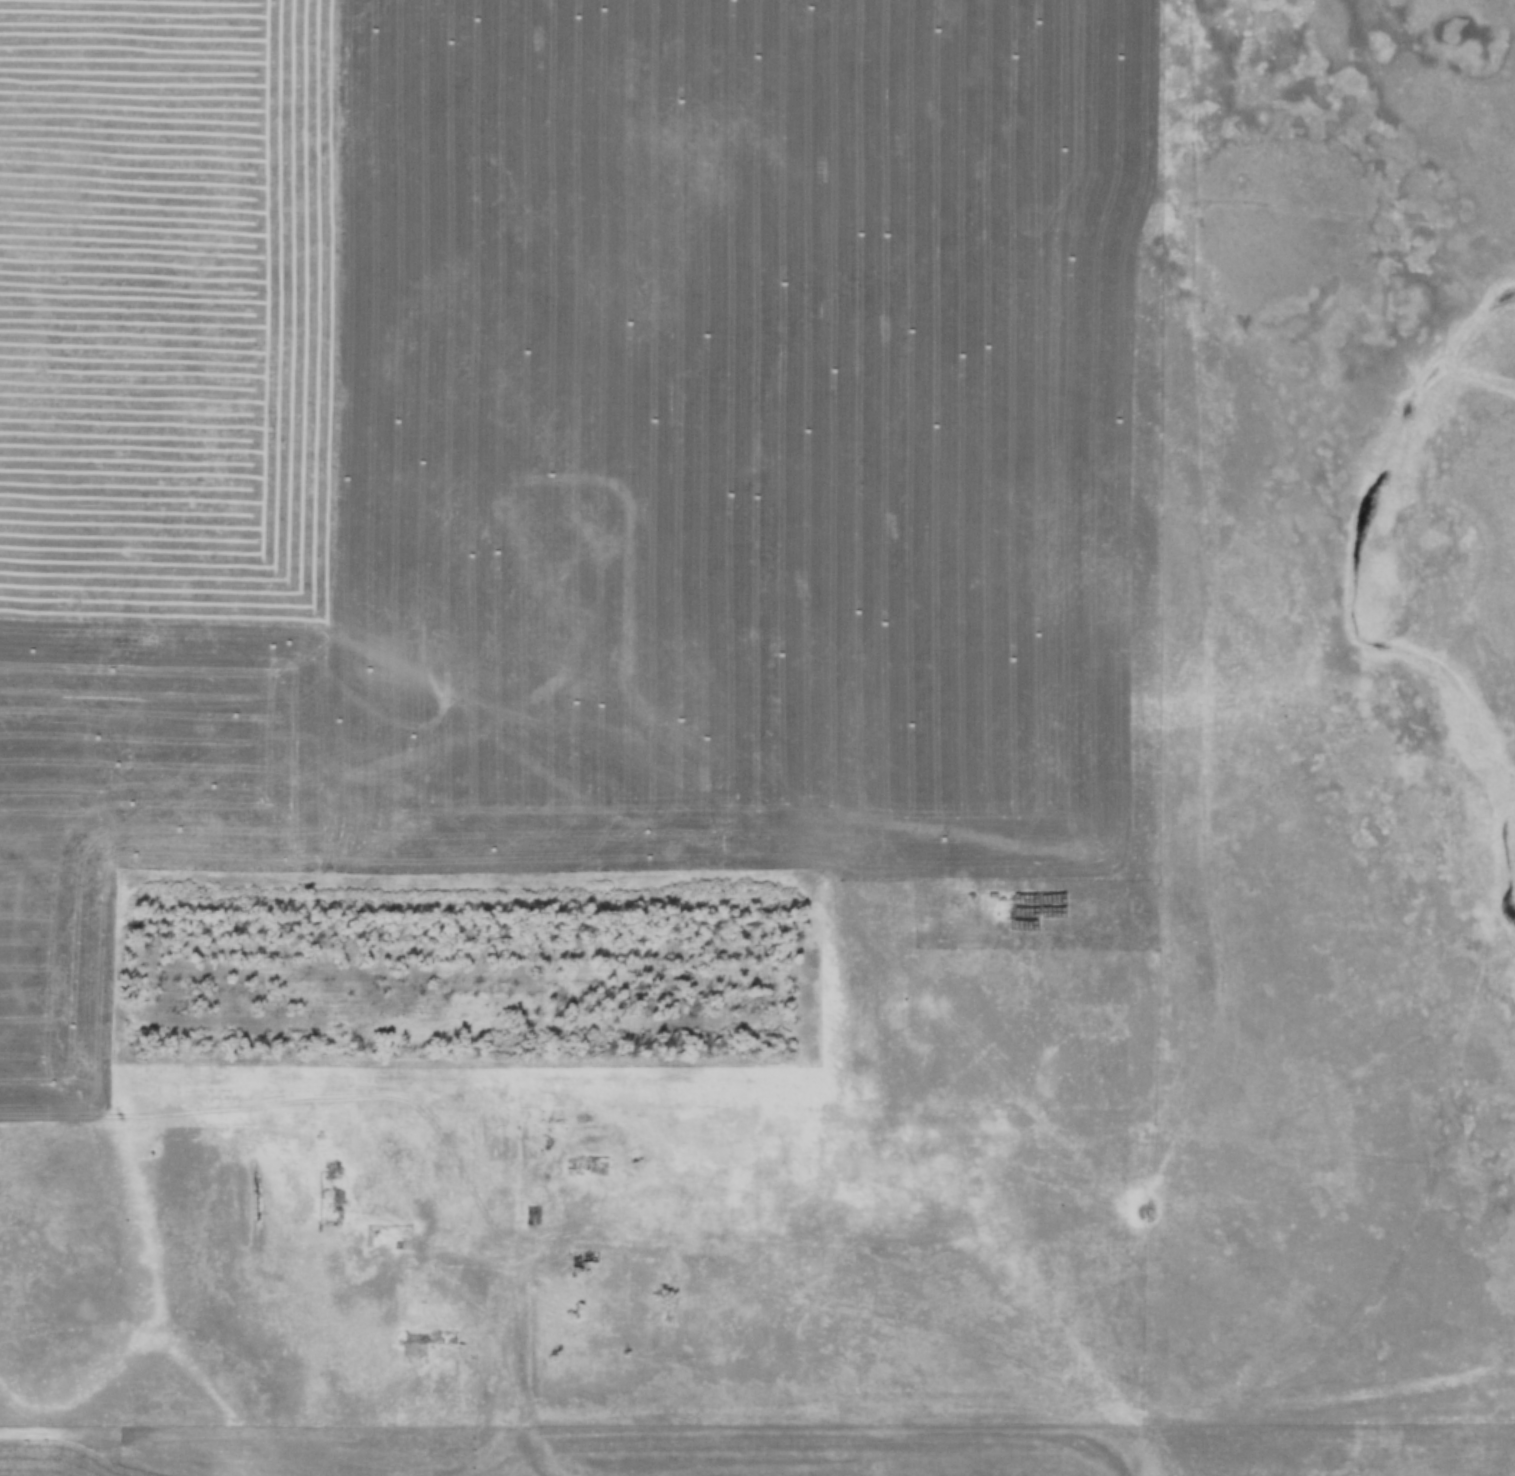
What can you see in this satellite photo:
building: (574, 1156)
building: (584, 1164)
building: (336, 1182)
building: (327, 1191)
road: (101, 1454)
road: (524, 1462)

